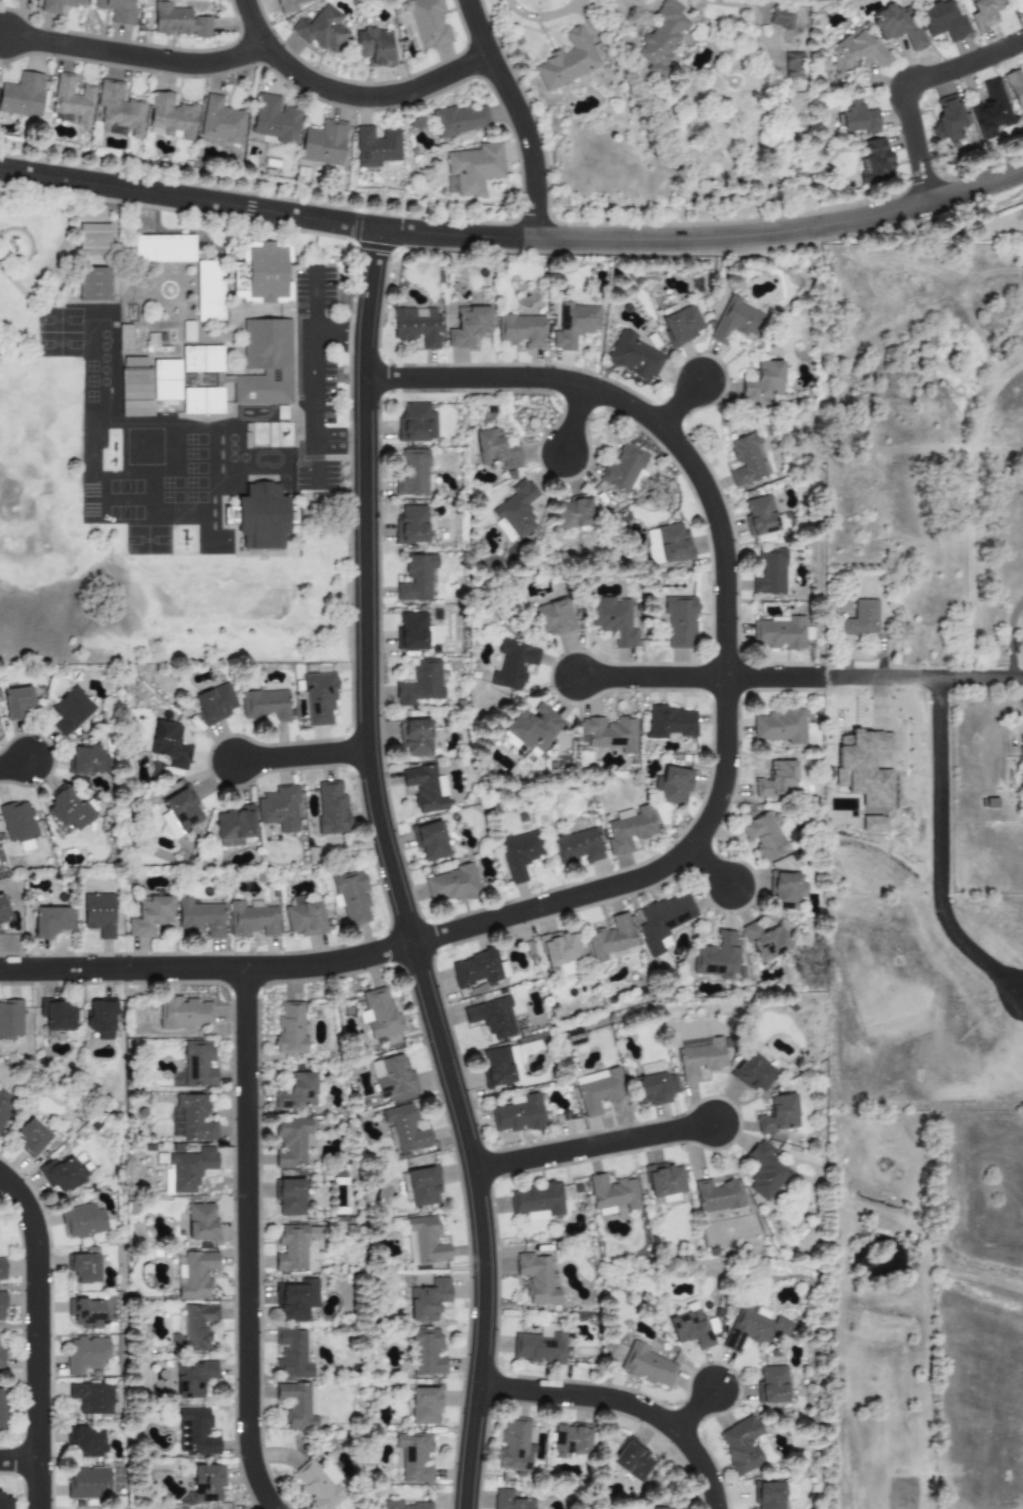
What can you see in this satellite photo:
building: (58, 5)
building: (288, 5)
building: (1018, 5)
building: (116, 10)
building: (984, 13)
building: (781, 18)
building: (943, 21)
building: (179, 22)
building: (429, 23)
building: (408, 27)
building: (897, 27)
building: (322, 30)
building: (662, 39)
building: (374, 47)
building: (855, 52)
road: (134, 56)
building: (567, 61)
building: (792, 67)
street lamp: (514, 73)
road: (903, 82)
building: (1015, 88)
building: (21, 95)
road: (347, 95)
building: (71, 100)
building: (794, 103)
building: (118, 110)
building: (991, 111)
road: (518, 114)
building: (170, 117)
building: (856, 117)
building: (274, 119)
building: (947, 119)
building: (459, 120)
building: (220, 121)
building: (323, 143)
building: (375, 147)
building: (874, 162)
building: (472, 169)
road: (188, 199)
building: (95, 232)
road: (782, 232)
road: (455, 235)
building: (147, 245)
building: (167, 245)
building: (187, 246)
building: (95, 248)
building: (211, 268)
building: (265, 273)
building: (96, 282)
building: (211, 288)
building: (211, 307)
building: (735, 321)
building: (574, 324)
building: (680, 325)
building: (416, 326)
building: (468, 326)
building: (520, 330)
road: (338, 334)
building: (124, 338)
road: (312, 354)
building: (634, 355)
building: (194, 357)
building: (213, 357)
building: (268, 362)
building: (167, 371)
building: (138, 375)
building: (762, 383)
building: (167, 390)
building: (138, 392)
building: (195, 398)
building: (214, 398)
road: (678, 404)
building: (138, 408)
road: (573, 420)
building: (416, 422)
park: (61, 432)
road: (315, 444)
building: (496, 449)
building: (746, 459)
building: (623, 468)
building: (412, 473)
street lamp: (725, 499)
building: (515, 512)
building: (572, 513)
building: (263, 514)
building: (760, 515)
building: (411, 524)
building: (668, 544)
building: (770, 573)
building: (415, 579)
building: (551, 617)
building: (858, 619)
building: (613, 620)
building: (679, 621)
building: (412, 631)
building: (778, 633)
street lamp: (382, 660)
street lamp: (645, 661)
building: (512, 663)
road: (649, 677)
road: (771, 677)
road: (821, 677)
road: (826, 677)
road: (925, 677)
building: (421, 683)
building: (319, 699)
building: (16, 701)
building: (214, 704)
building: (265, 705)
building: (71, 711)
building: (670, 722)
building: (779, 726)
building: (533, 728)
building: (609, 733)
building: (415, 737)
building: (169, 744)
road: (300, 756)
building: (88, 759)
road: (13, 764)
building: (863, 767)
building: (777, 780)
road: (937, 785)
building: (671, 786)
building: (426, 788)
building: (331, 807)
building: (279, 808)
building: (68, 811)
building: (179, 812)
building: (17, 822)
building: (873, 823)
building: (233, 826)
building: (629, 828)
road: (702, 828)
building: (764, 837)
building: (430, 841)
building: (577, 846)
building: (519, 854)
road: (708, 866)
road: (391, 873)
building: (452, 884)
building: (786, 890)
building: (351, 897)
building: (2, 910)
building: (99, 914)
building: (149, 916)
building: (201, 917)
building: (304, 917)
building: (252, 920)
building: (663, 920)
building: (51, 921)
building: (611, 940)
building: (765, 942)
building: (560, 948)
building: (717, 957)
building: (478, 969)
building: (184, 1013)
building: (379, 1014)
building: (56, 1016)
building: (492, 1017)
building: (101, 1018)
building: (11, 1020)
building: (290, 1028)
street lamp: (421, 1043)
building: (514, 1058)
building: (699, 1058)
building: (196, 1065)
building: (496, 1066)
building: (753, 1072)
building: (391, 1075)
building: (653, 1089)
building: (598, 1091)
building: (297, 1092)
building: (4, 1106)
building: (518, 1114)
building: (779, 1114)
building: (191, 1118)
building: (405, 1128)
building: (31, 1137)
building: (291, 1142)
road: (592, 1146)
building: (190, 1168)
building: (766, 1172)
building: (61, 1174)
street lamp: (24, 1176)
building: (664, 1182)
building: (423, 1185)
building: (612, 1192)
building: (717, 1196)
building: (290, 1197)
building: (537, 1201)
building: (82, 1221)
building: (201, 1222)
road: (245, 1241)
building: (425, 1241)
building: (294, 1246)
building: (84, 1268)
building: (2, 1269)
building: (194, 1274)
building: (536, 1278)
building: (297, 1300)
building: (428, 1300)
building: (2, 1306)
building: (86, 1313)
building: (195, 1328)
building: (691, 1328)
building: (752, 1328)
road: (36, 1337)
building: (540, 1346)
building: (426, 1352)
building: (86, 1355)
building: (292, 1355)
building: (2, 1359)
building: (647, 1365)
building: (193, 1378)
street lamp: (601, 1382)
building: (773, 1384)
building: (93, 1397)
road: (623, 1402)
building: (298, 1405)
building: (425, 1405)
building: (2, 1409)
road: (693, 1410)
building: (195, 1432)
building: (87, 1442)
building: (570, 1442)
building: (514, 1444)
building: (741, 1445)
building: (414, 1457)
building: (632, 1459)
road: (18, 1460)
building: (207, 1482)
building: (89, 1483)
building: (315, 1485)
building: (768, 1495)
building: (510, 1500)
building: (5, 1502)
building: (404, 1505)
building: (656, 1508)

